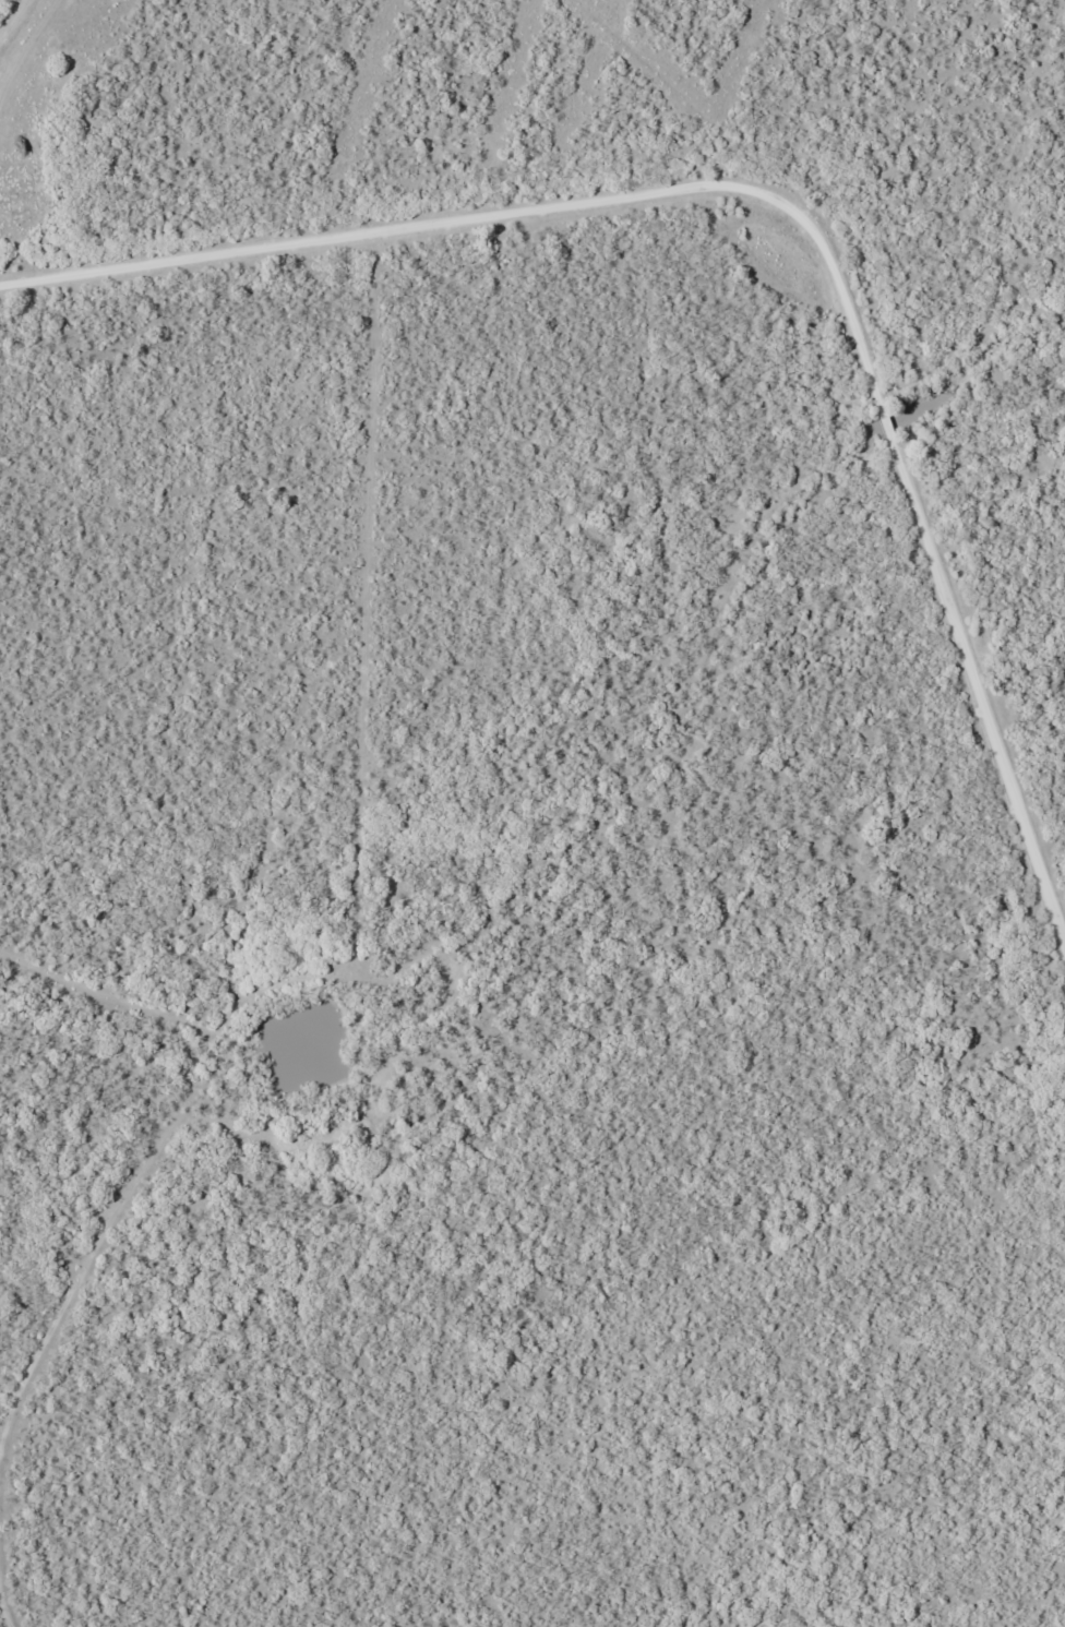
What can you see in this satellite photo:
road: (132, 140)
road: (657, 268)

